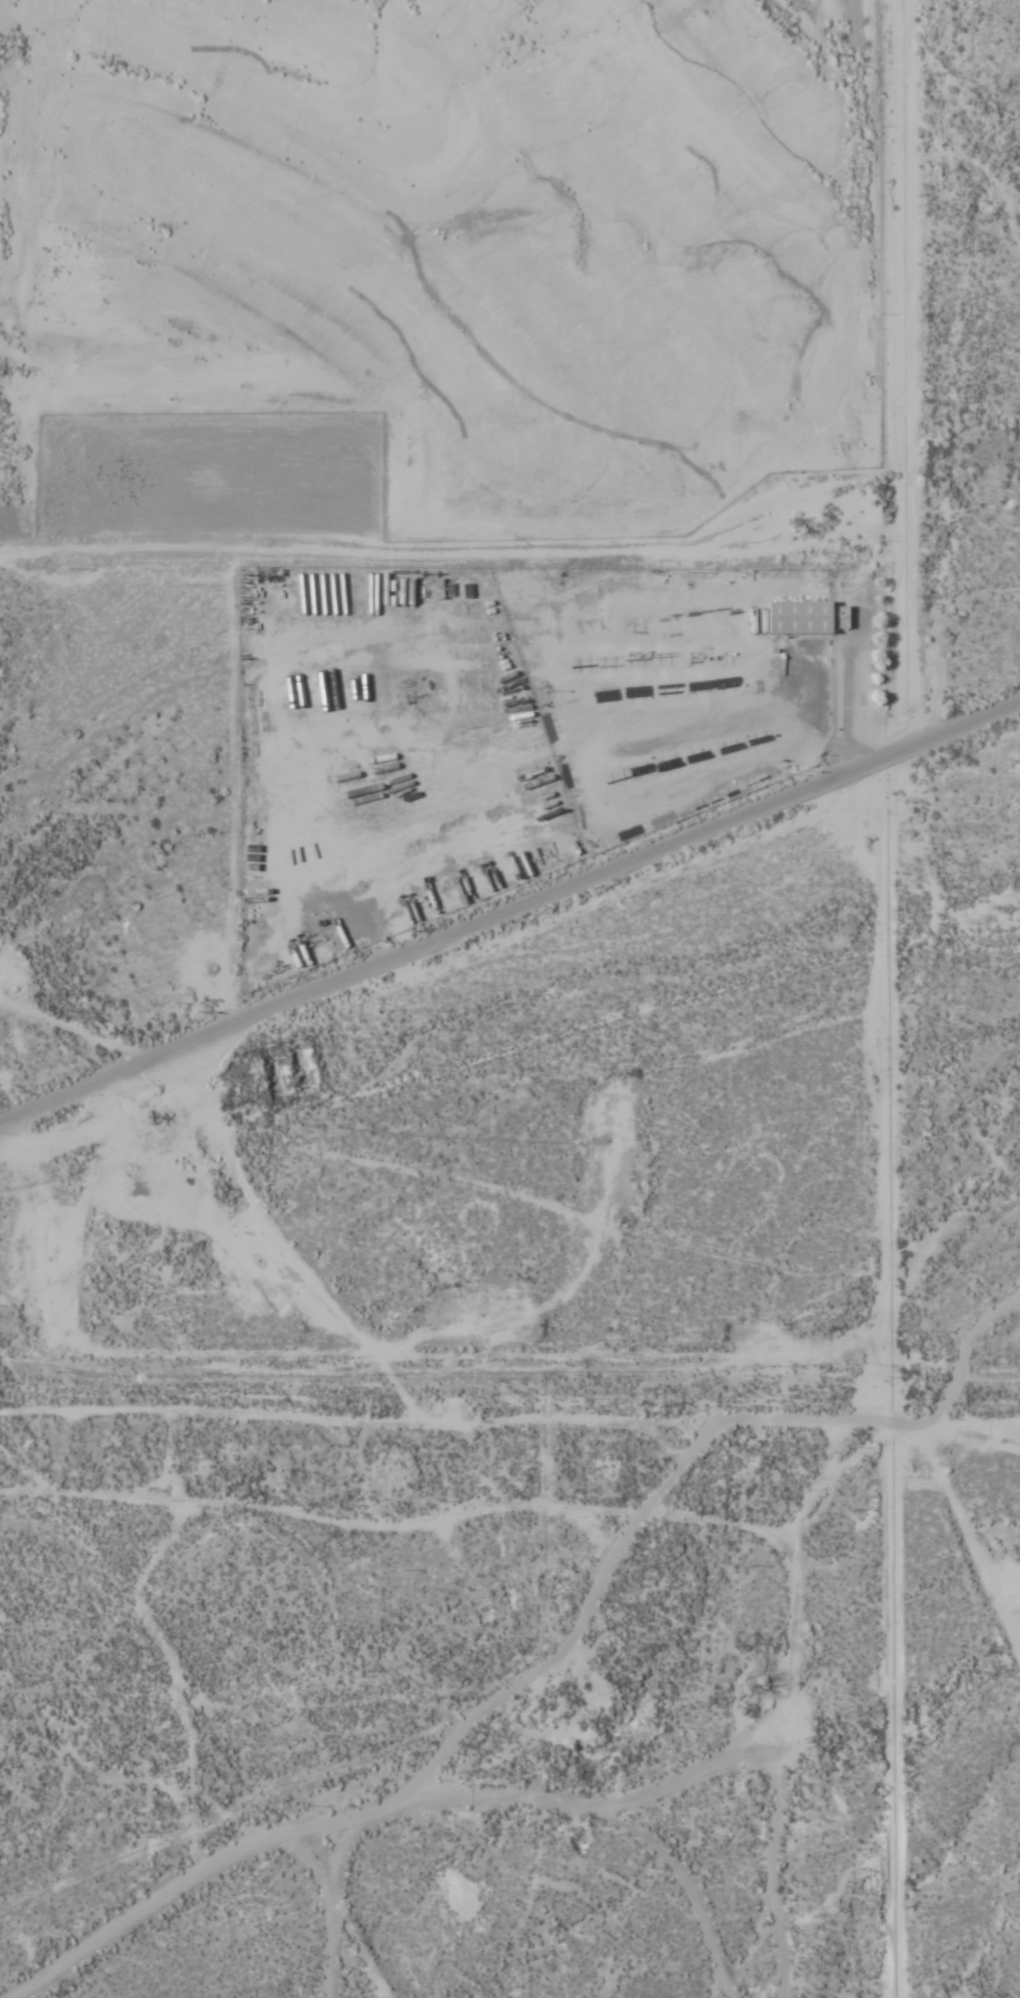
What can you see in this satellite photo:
road: (926, 122)
road: (906, 375)
road: (453, 549)
building: (807, 619)
building: (520, 716)
road: (510, 914)
building: (135, 1173)
building: (137, 1191)
road: (510, 1416)
road: (785, 1707)
road: (387, 1806)
road: (109, 1931)

